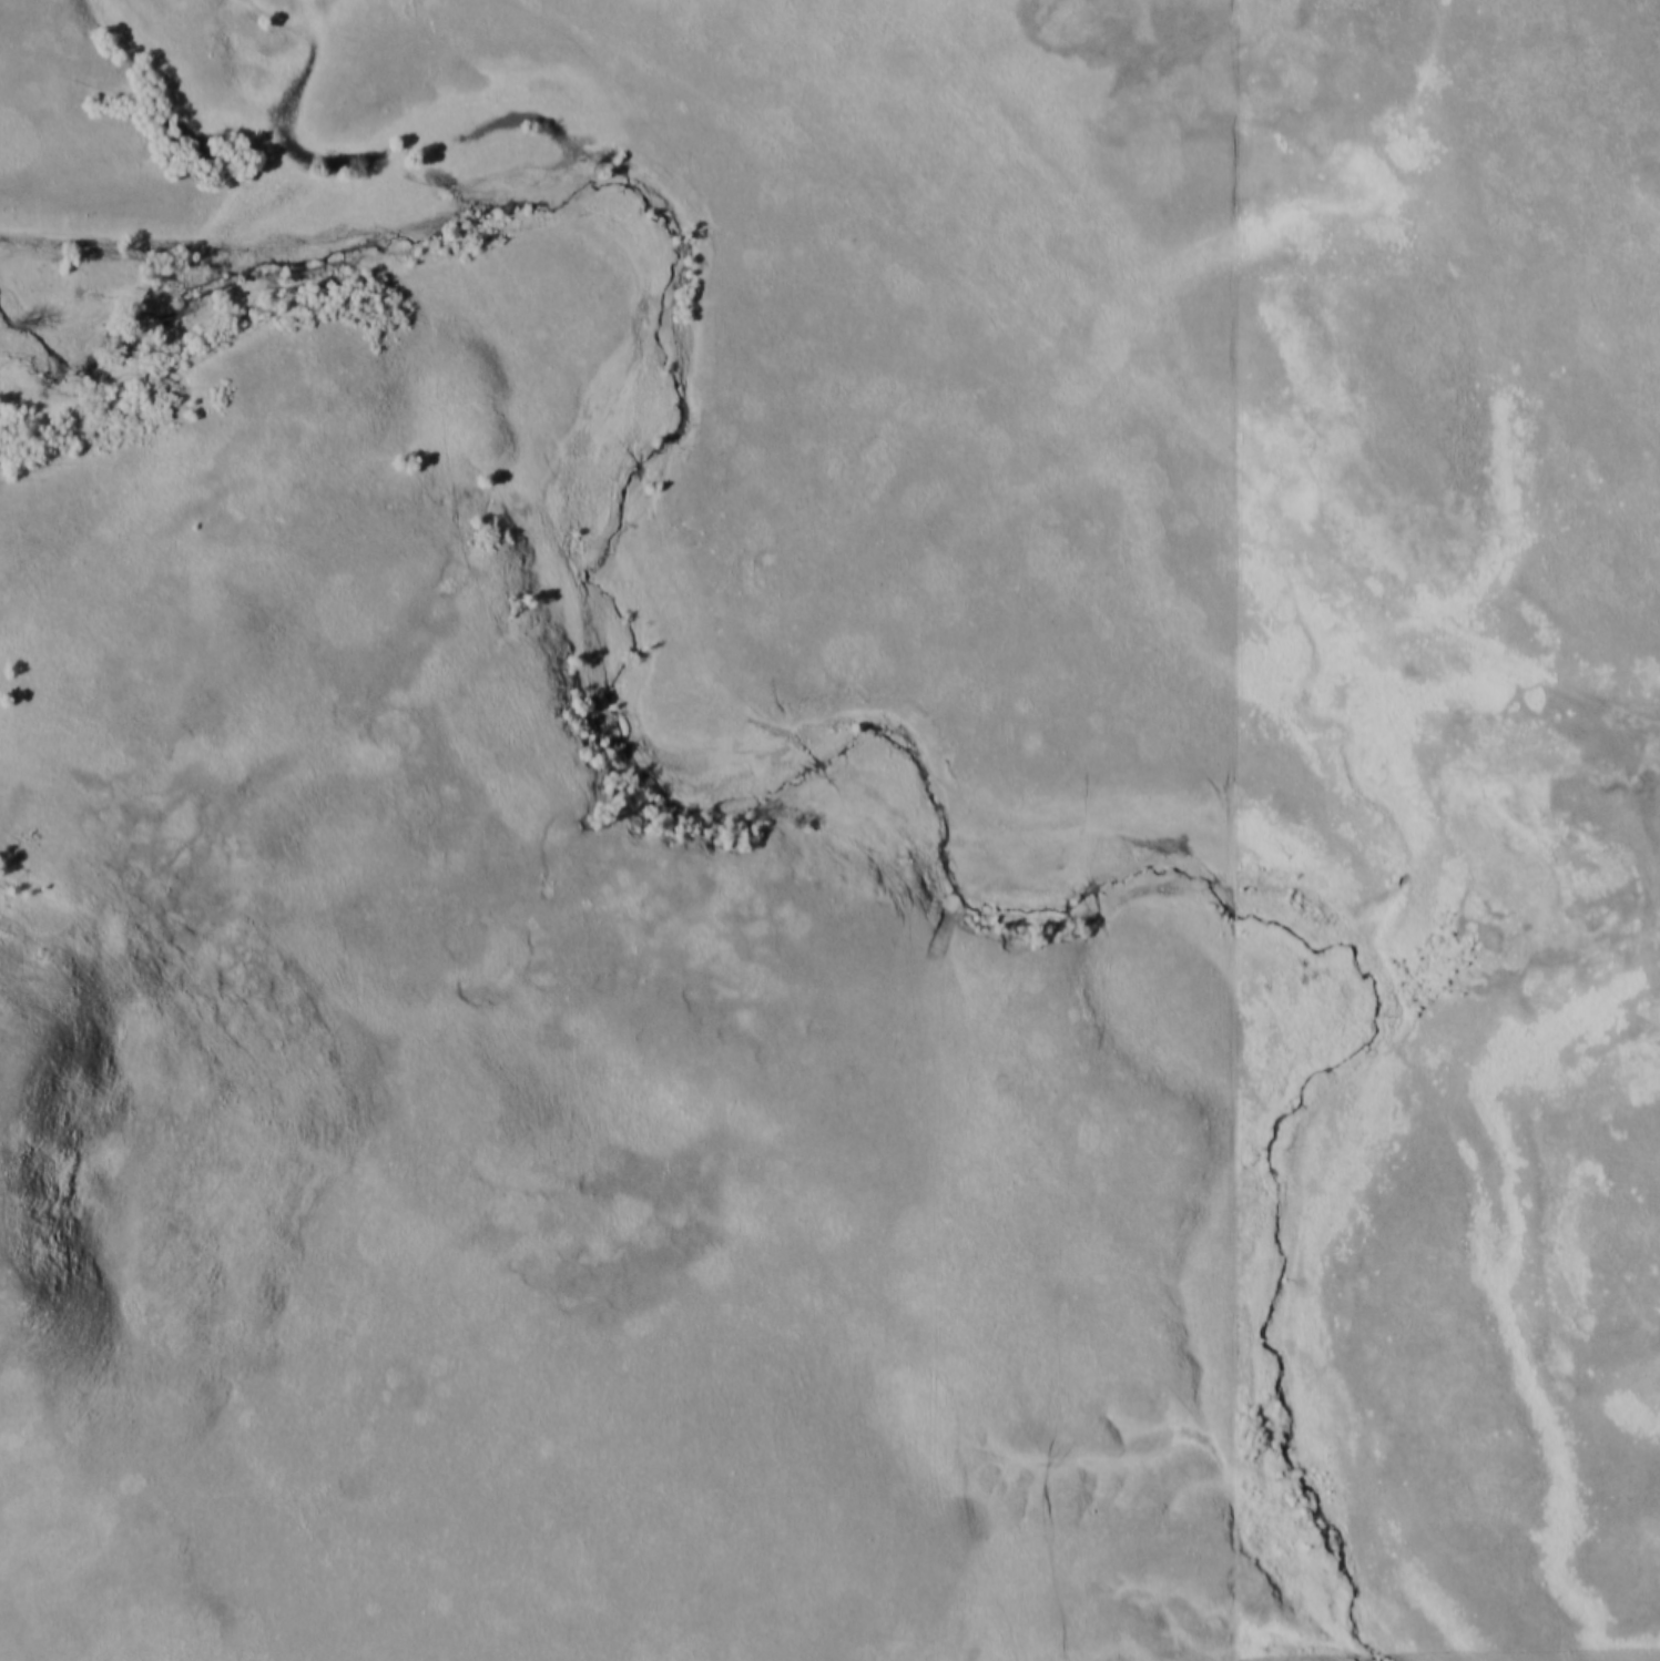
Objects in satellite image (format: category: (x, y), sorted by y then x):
road: (1240, 830)
road: (1449, 1647)

